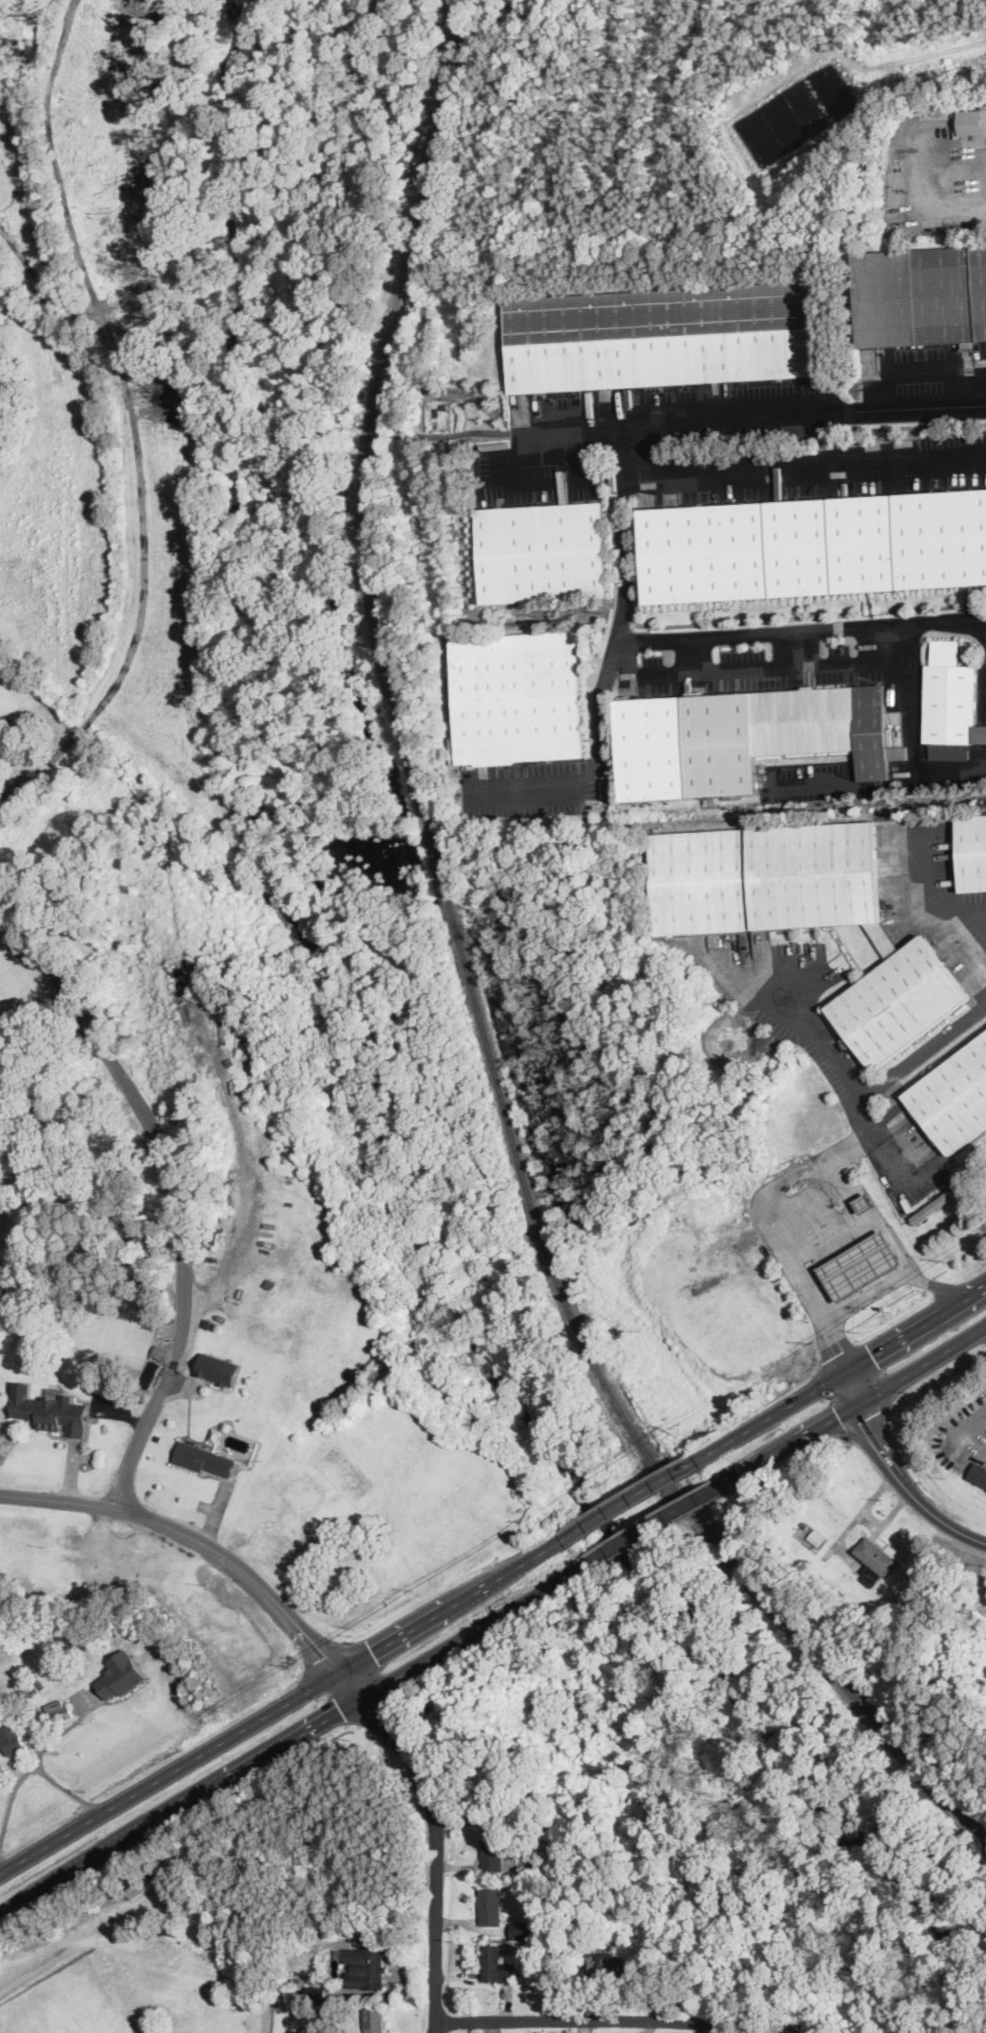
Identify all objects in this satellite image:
building: (972, 118)
road: (937, 204)
building: (922, 293)
building: (664, 335)
road: (921, 373)
road: (669, 416)
road: (526, 435)
road: (804, 463)
building: (815, 544)
building: (543, 551)
road: (800, 629)
road: (890, 643)
road: (800, 646)
road: (693, 654)
road: (881, 662)
building: (517, 696)
building: (950, 702)
road: (599, 724)
building: (744, 736)
road: (951, 771)
road: (539, 784)
building: (972, 850)
road: (935, 891)
building: (806, 914)
railway: (473, 990)
road: (49, 1055)
road: (879, 1085)
building: (952, 1096)
road: (775, 1189)
road: (172, 1191)
building: (864, 1202)
building: (933, 1206)
road: (871, 1224)
road: (834, 1246)
building: (861, 1265)
road: (871, 1292)
traffic signals: (839, 1353)
traffic signals: (873, 1355)
building: (218, 1367)
road: (837, 1376)
road: (852, 1386)
road: (854, 1404)
building: (50, 1409)
traffic signals: (838, 1414)
traffic signals: (864, 1418)
road: (882, 1448)
building: (204, 1459)
building: (979, 1473)
road: (628, 1498)
road: (865, 1519)
road: (945, 1522)
road: (653, 1523)
road: (192, 1537)
building: (876, 1557)
traffic signals: (372, 1651)
traffic signals: (325, 1655)
building: (121, 1675)
building: (28, 1686)
road: (284, 1702)
building: (58, 1709)
traffic signals: (341, 1710)
traffic signals: (374, 1710)
building: (12, 1736)
road: (292, 1739)
road: (29, 1769)
road: (67, 1788)
road: (438, 1835)
building: (495, 1853)
building: (491, 1905)
building: (522, 1929)
road: (54, 1957)
building: (494, 1963)
building: (608, 1963)
building: (364, 1965)
road: (578, 2018)
building: (374, 2019)

